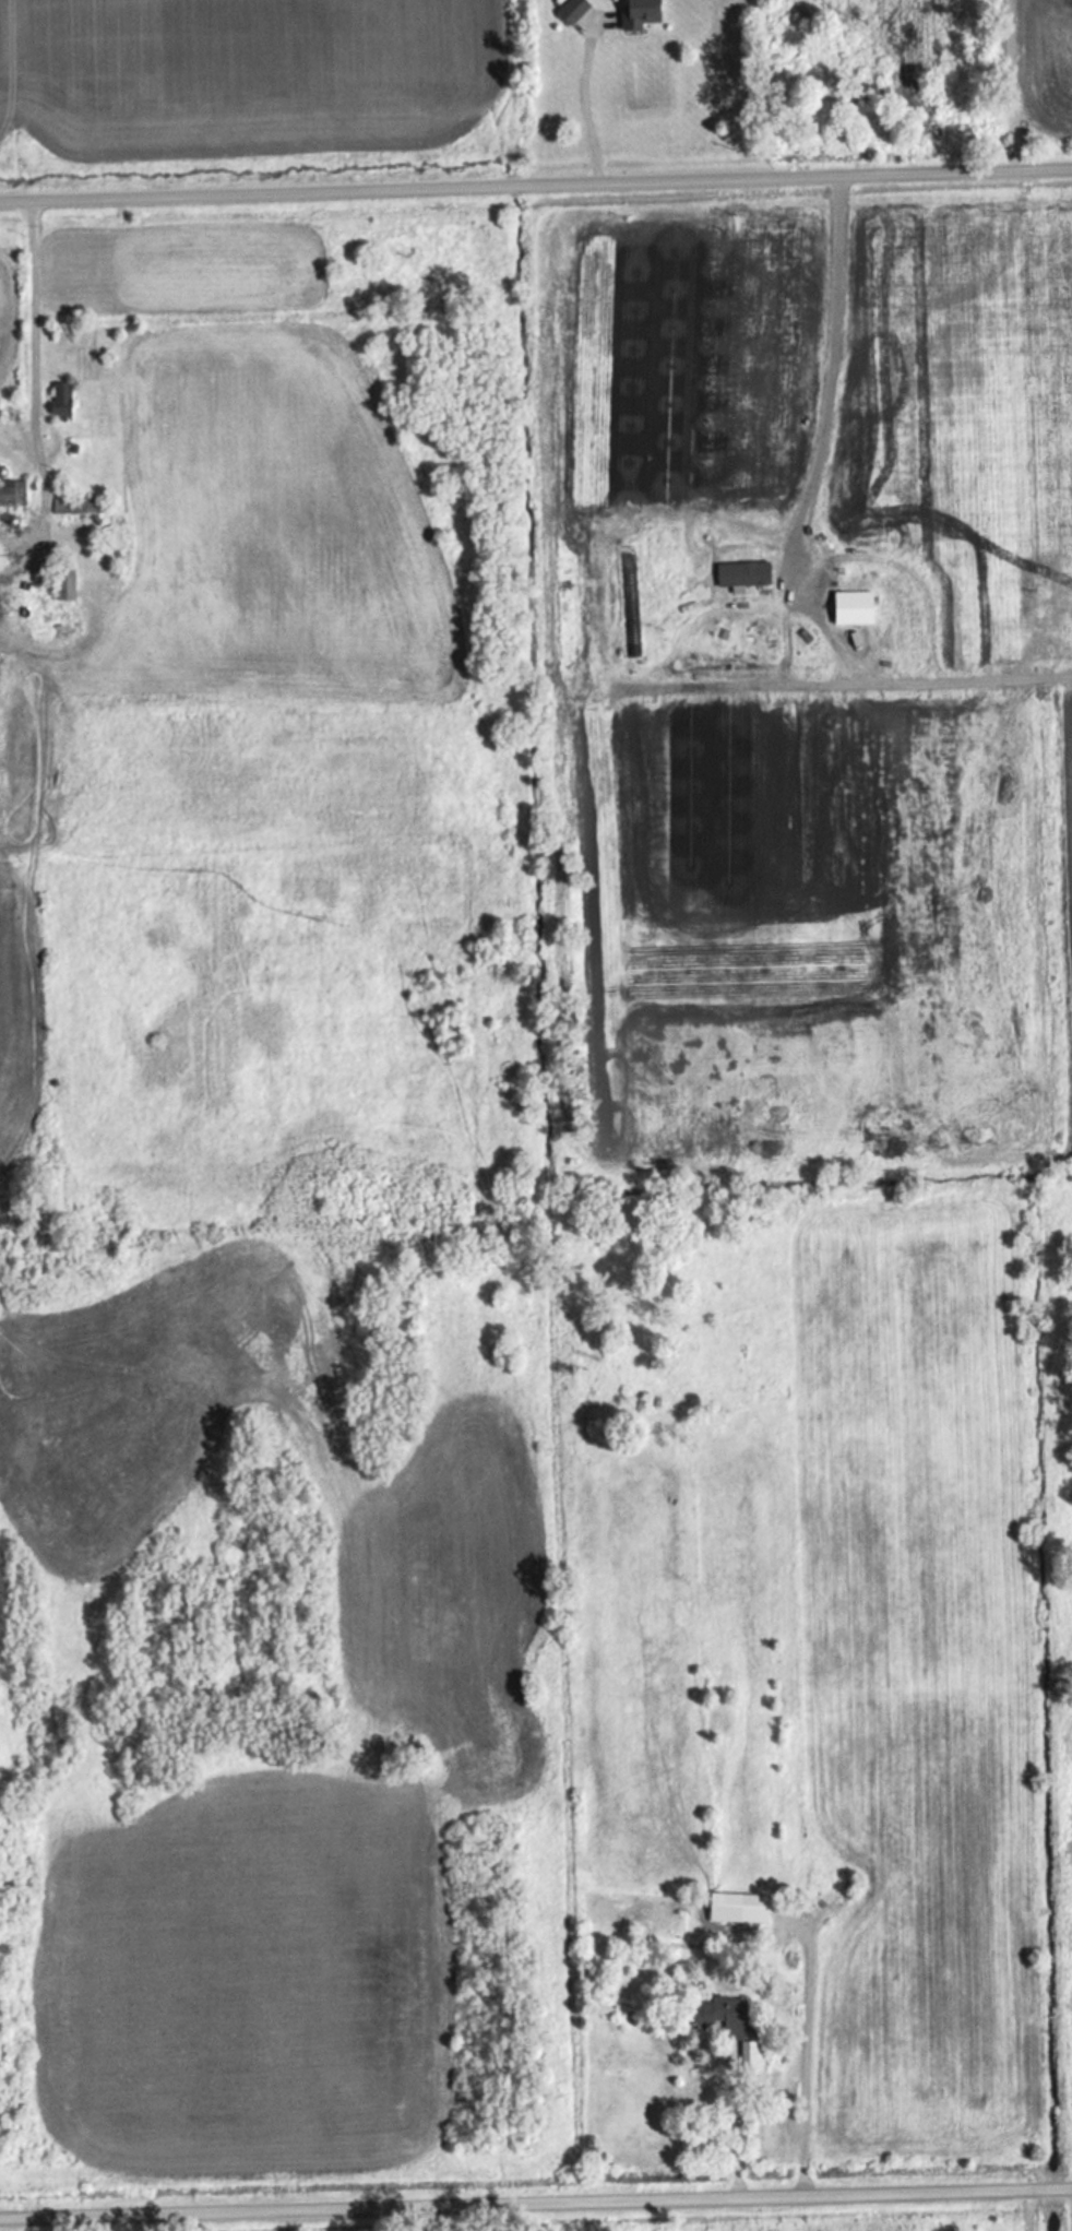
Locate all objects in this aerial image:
building: (577, 9)
building: (645, 13)
road: (591, 97)
road: (536, 182)
road: (969, 288)
road: (39, 375)
building: (63, 399)
road: (825, 416)
building: (12, 490)
building: (747, 571)
building: (68, 584)
building: (742, 1907)
road: (798, 2054)
road: (726, 2128)
road: (536, 2200)
road: (1065, 2205)

